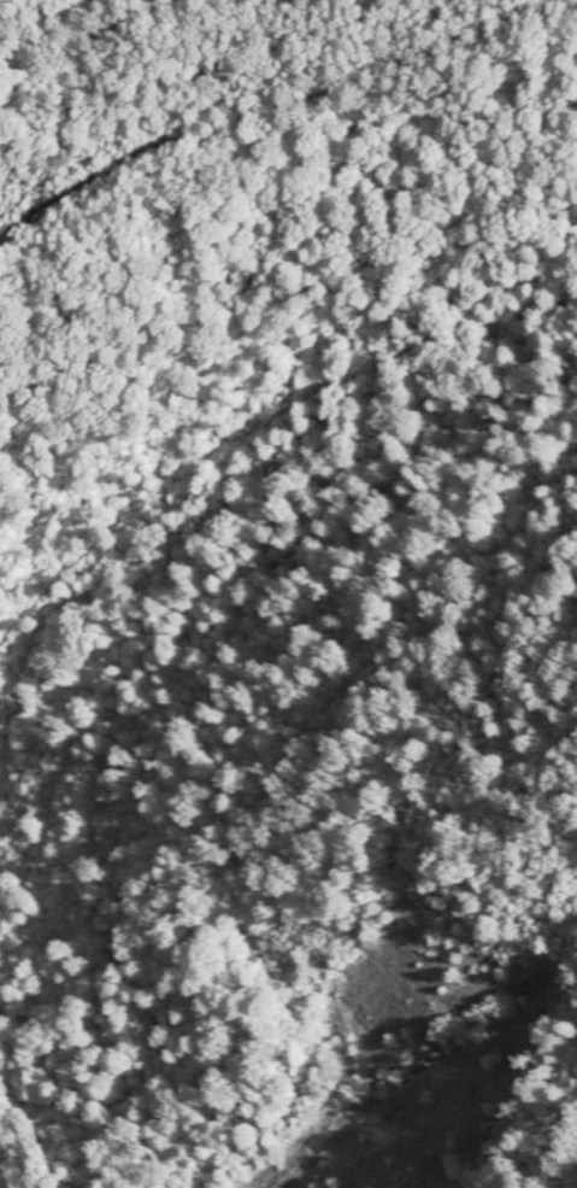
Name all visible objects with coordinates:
quarry: (326, 1098)

